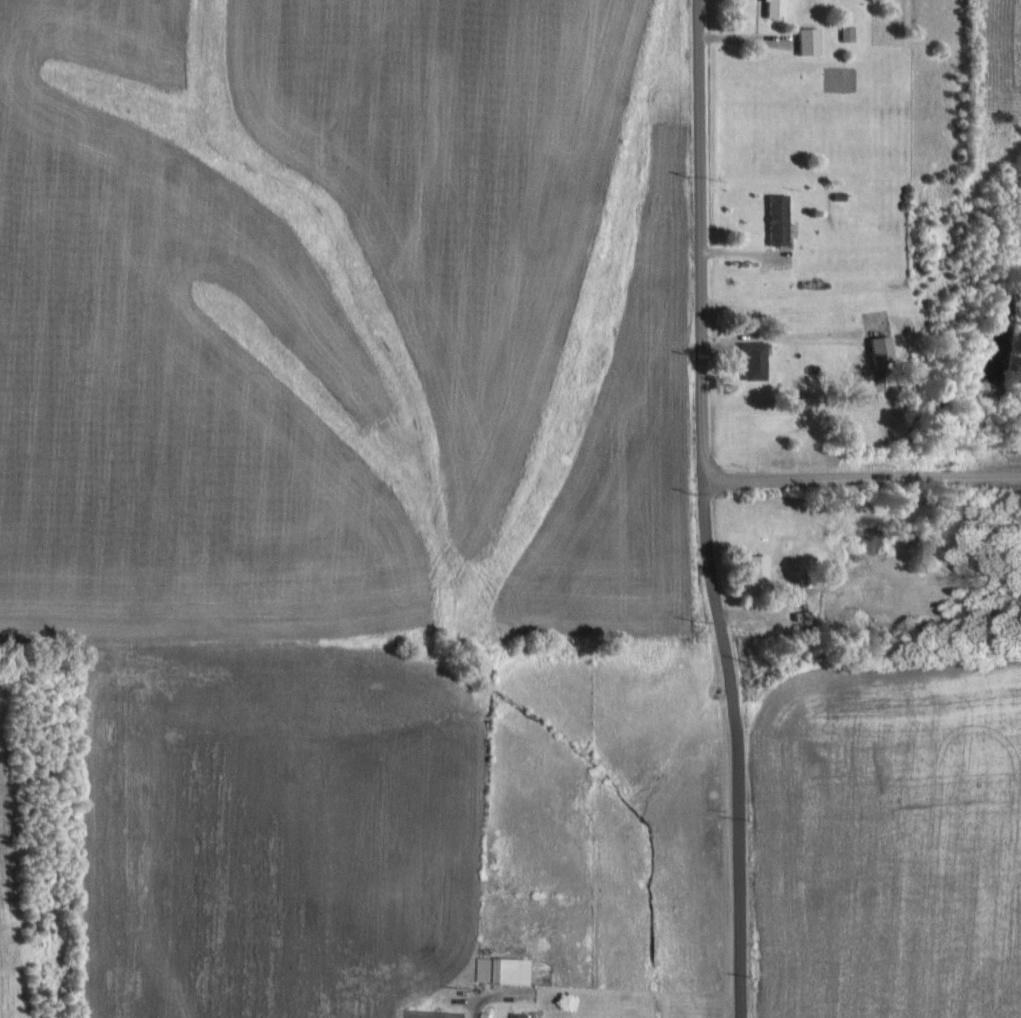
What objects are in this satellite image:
building: (774, 8)
building: (807, 39)
building: (776, 223)
building: (880, 349)
building: (752, 359)
road: (705, 509)
building: (754, 572)
building: (506, 969)
building: (521, 1015)

